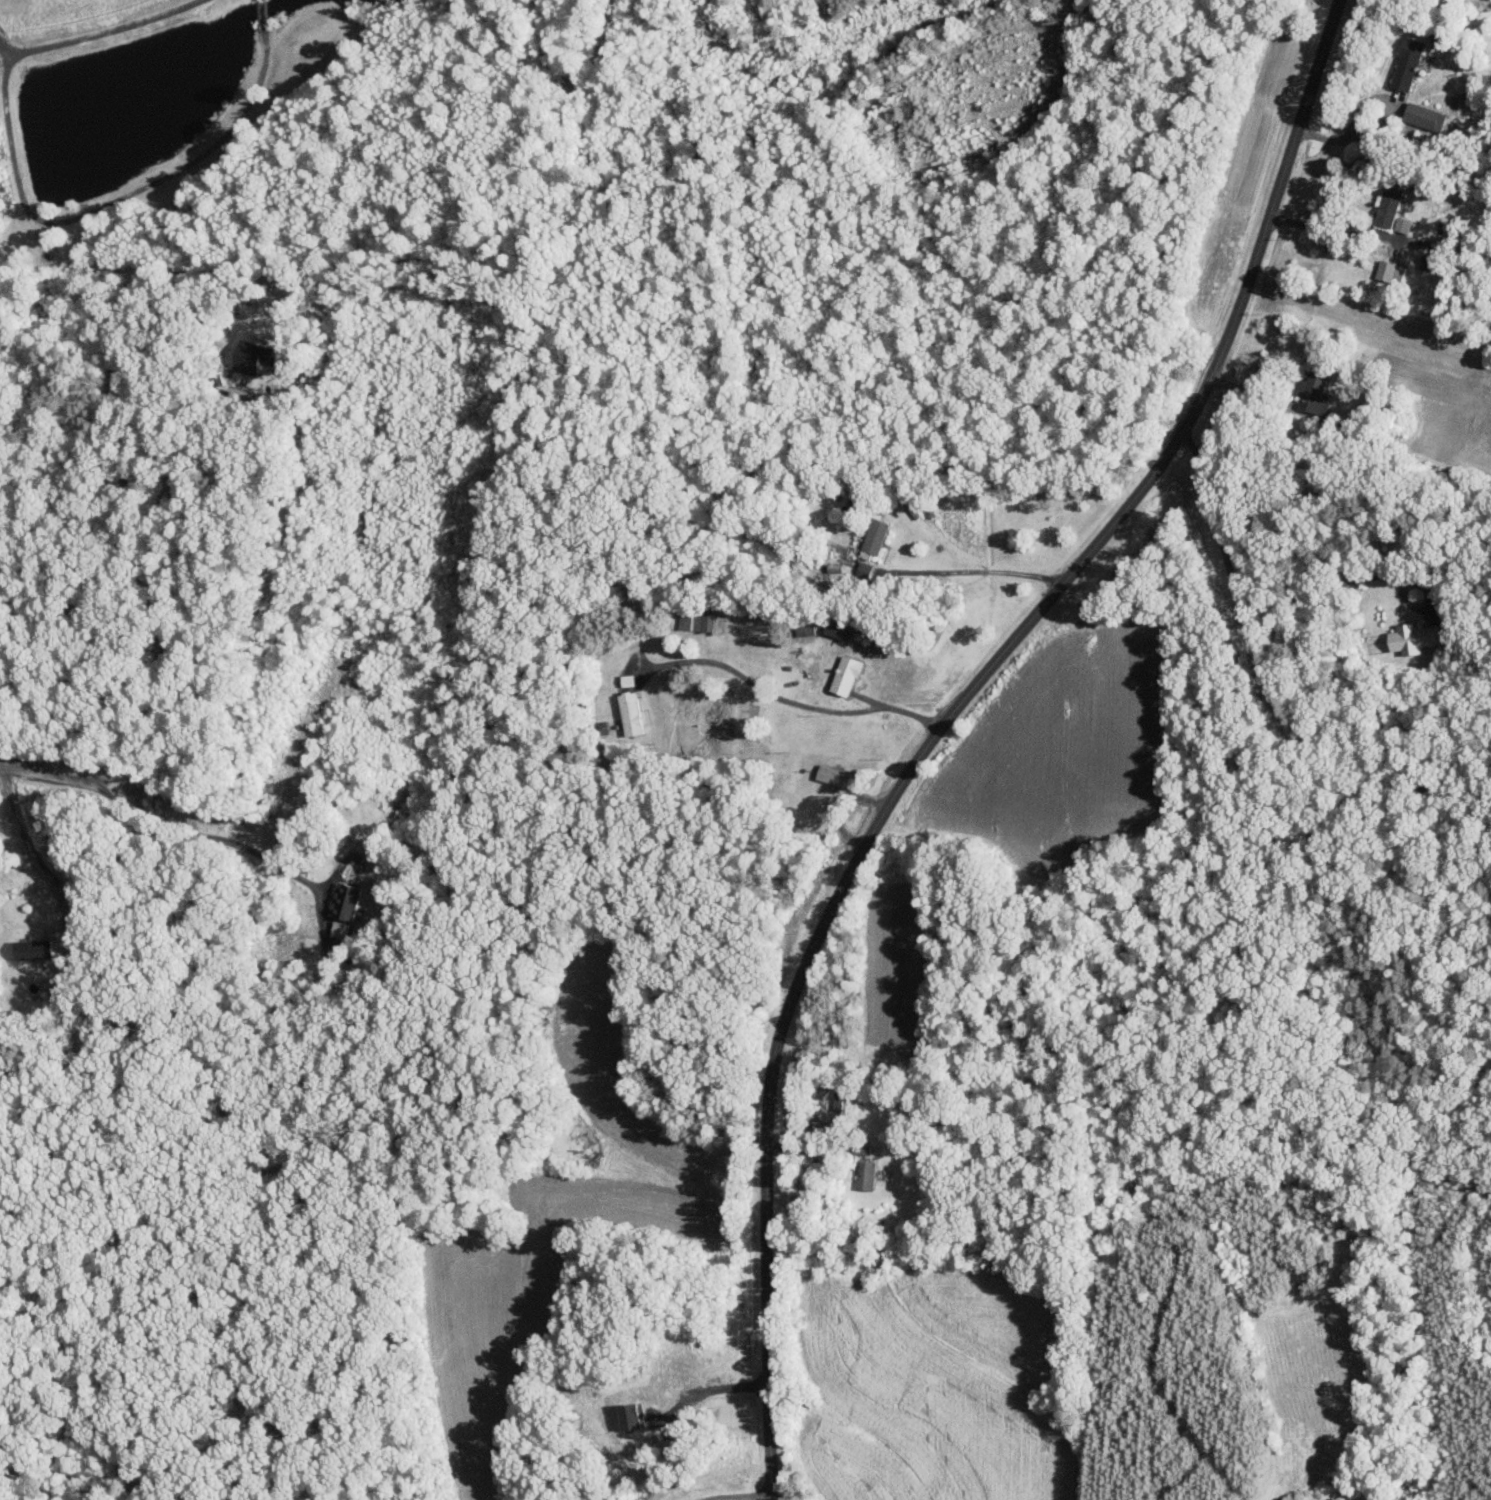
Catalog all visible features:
road: (97, 31)
building: (1408, 64)
building: (1422, 115)
road: (1379, 122)
building: (1388, 207)
road: (1342, 222)
building: (1402, 225)
building: (1429, 262)
building: (1390, 272)
building: (250, 358)
building: (1313, 394)
building: (876, 535)
building: (864, 569)
road: (975, 571)
road: (164, 592)
road: (1241, 595)
building: (686, 620)
building: (711, 622)
building: (1414, 637)
building: (846, 674)
road: (795, 702)
building: (632, 713)
road: (955, 720)
building: (833, 775)
road: (45, 778)
road: (217, 837)
road: (40, 862)
building: (345, 900)
building: (339, 930)
building: (34, 949)
building: (862, 1148)
building: (866, 1175)
road: (724, 1499)

